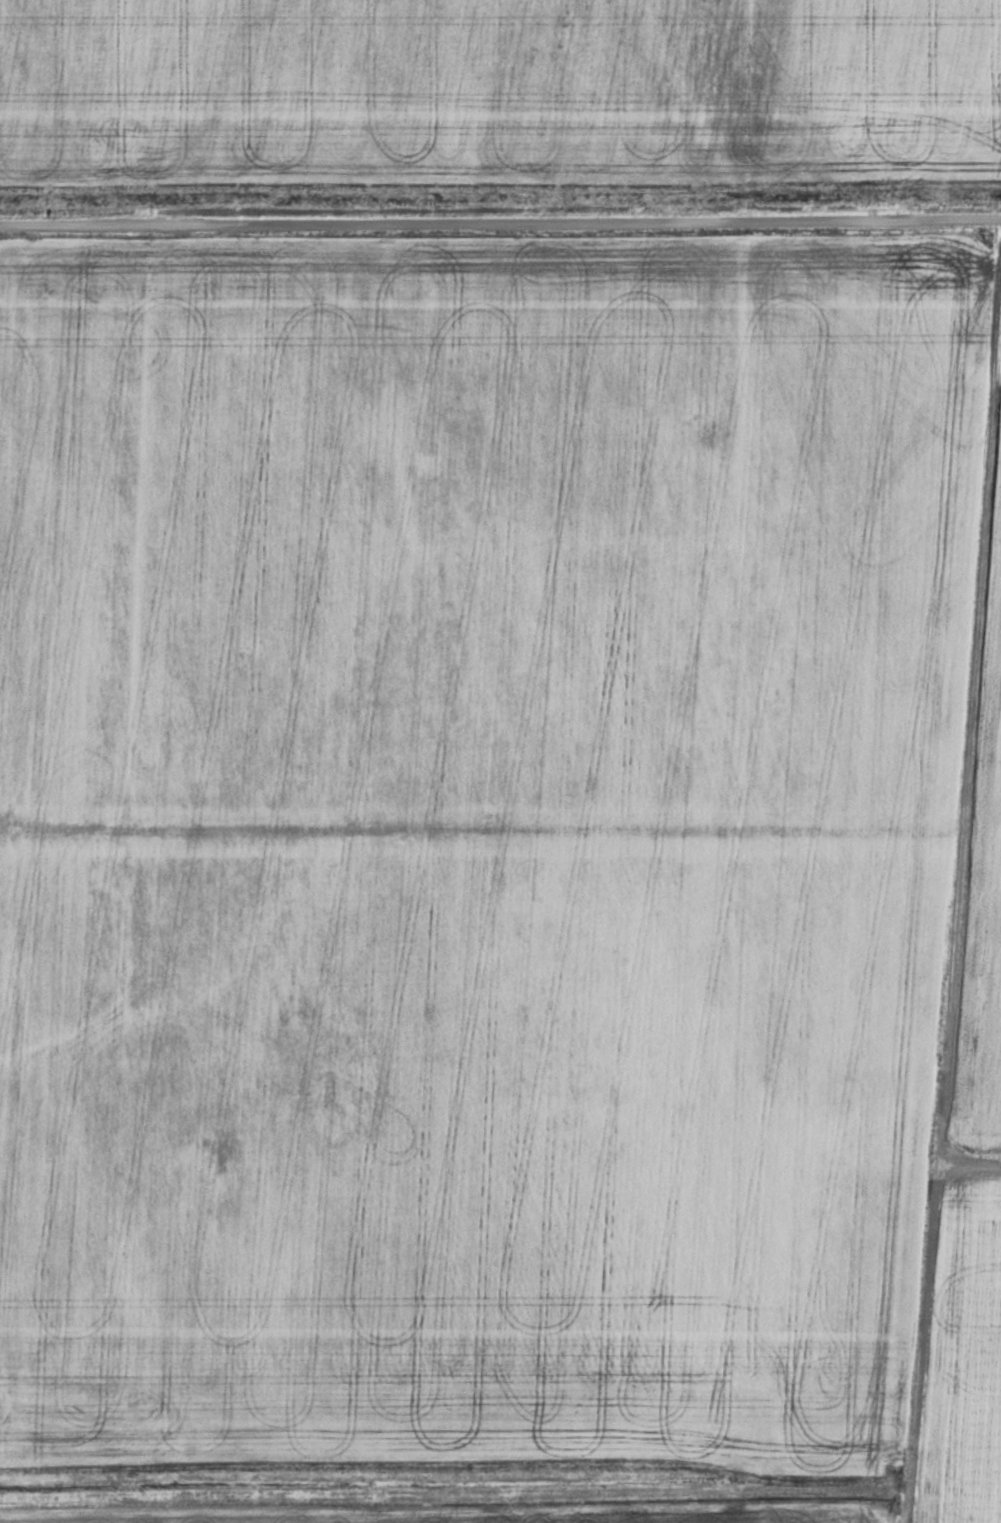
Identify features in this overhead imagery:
road: (500, 217)

